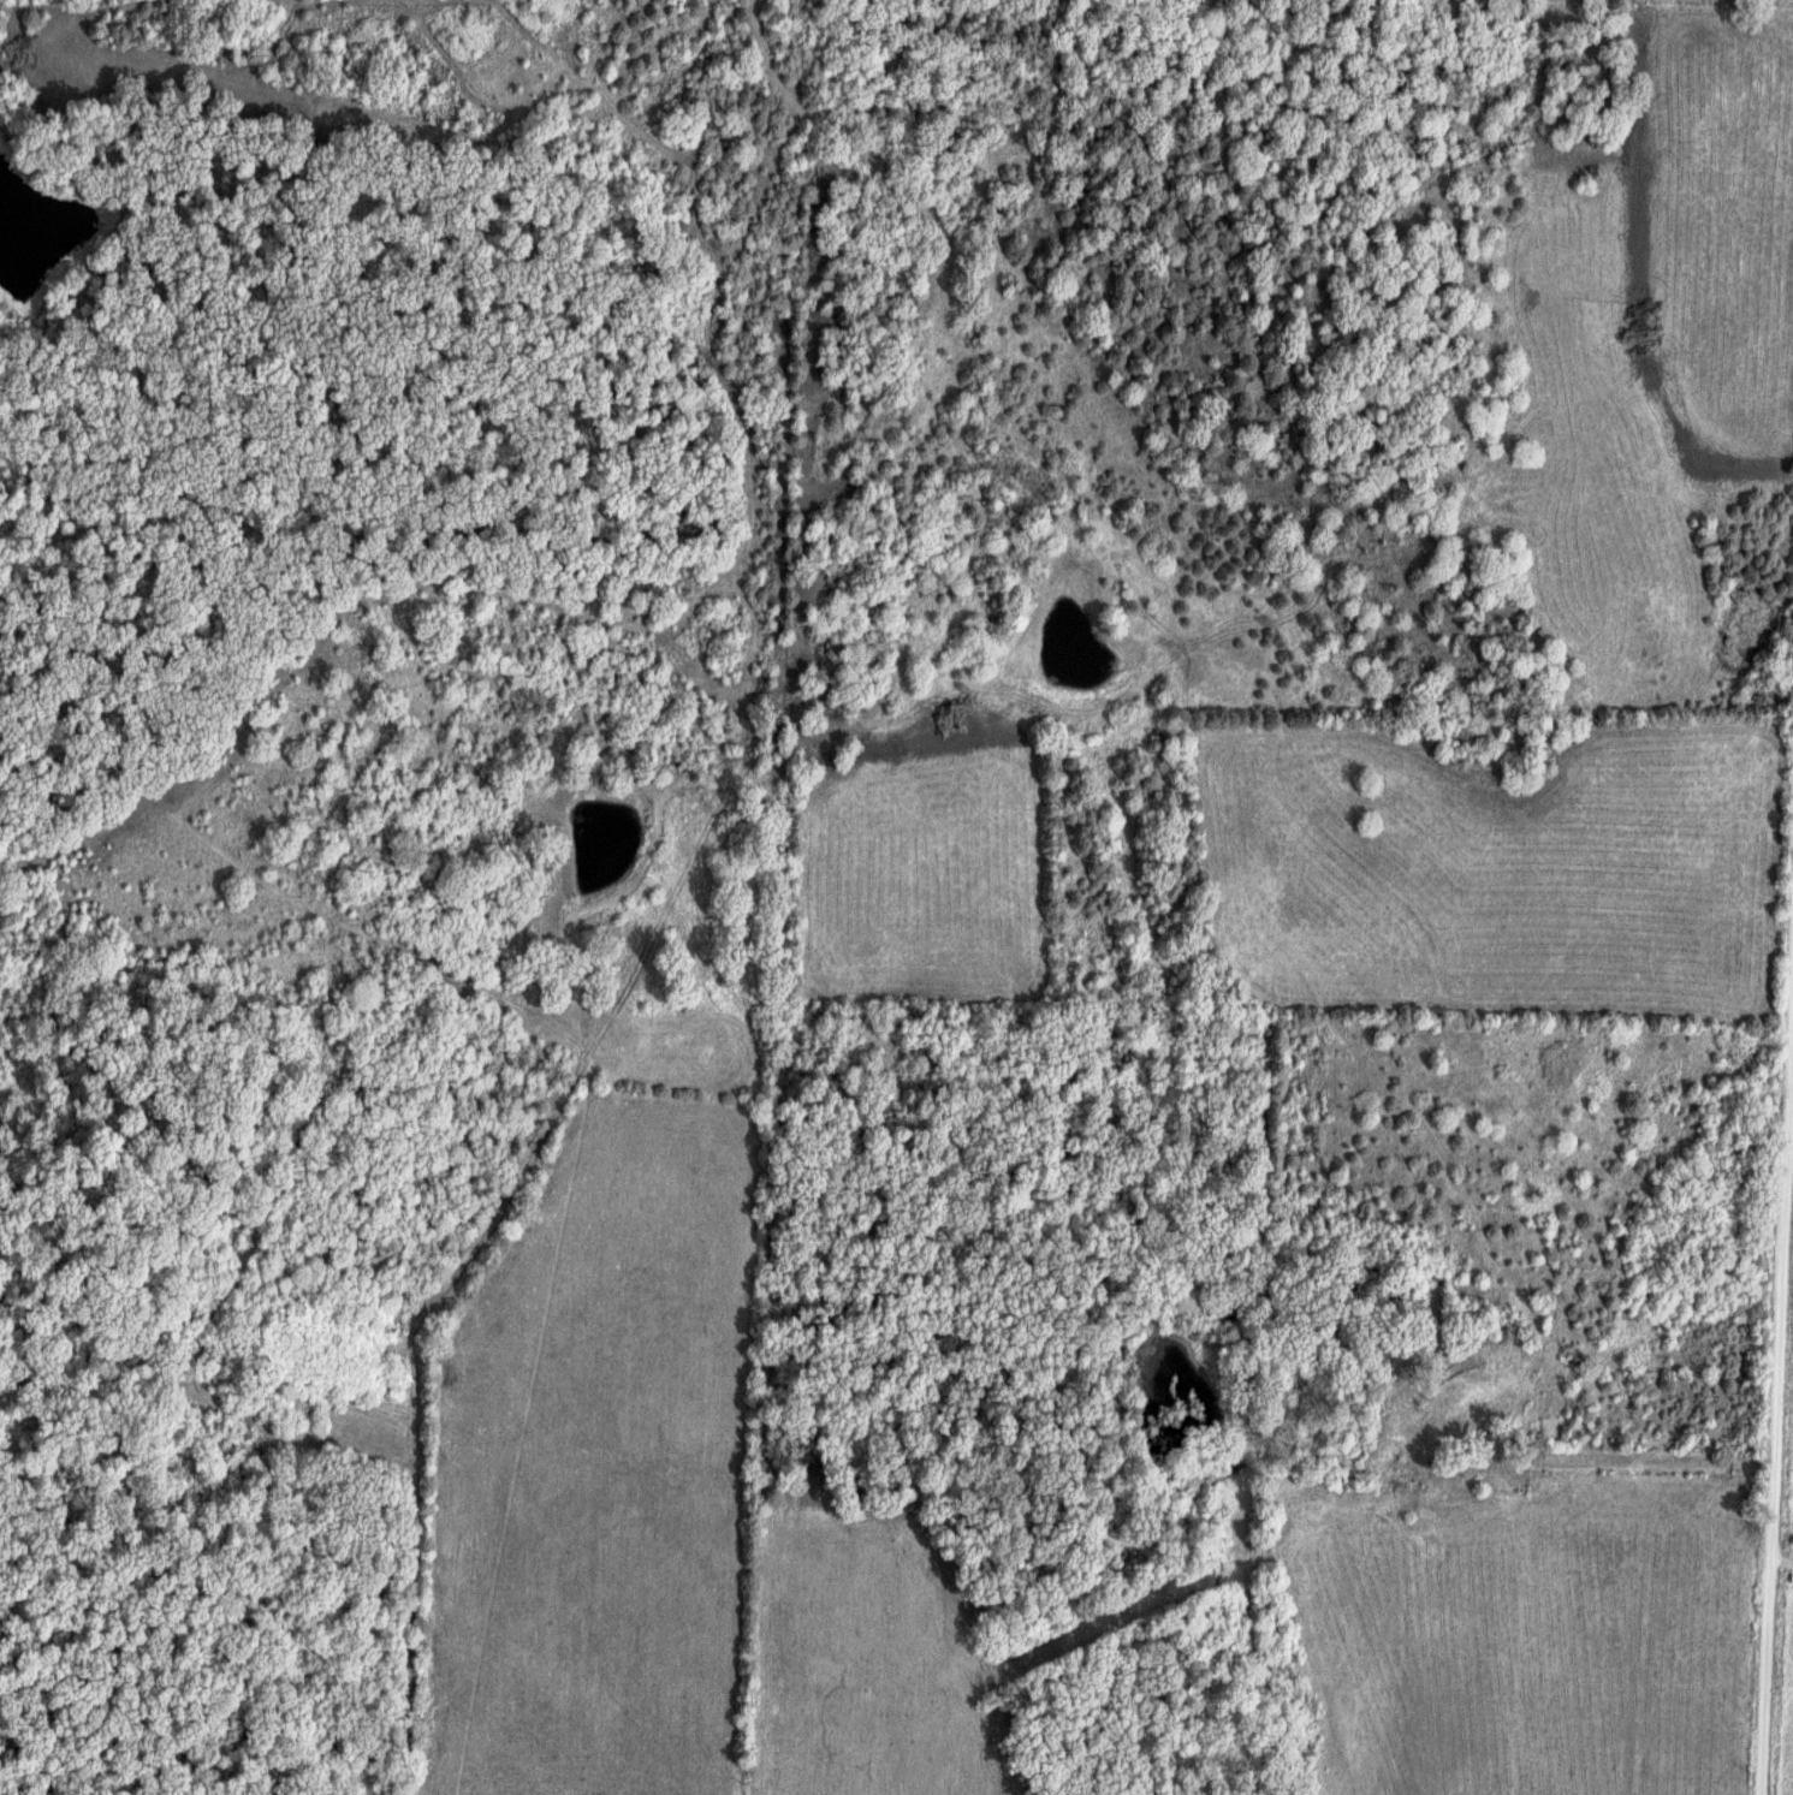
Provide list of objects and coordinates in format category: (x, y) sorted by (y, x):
building: (1311, 1383)
building: (1432, 1434)
road: (1777, 1486)
road: (1783, 1555)

